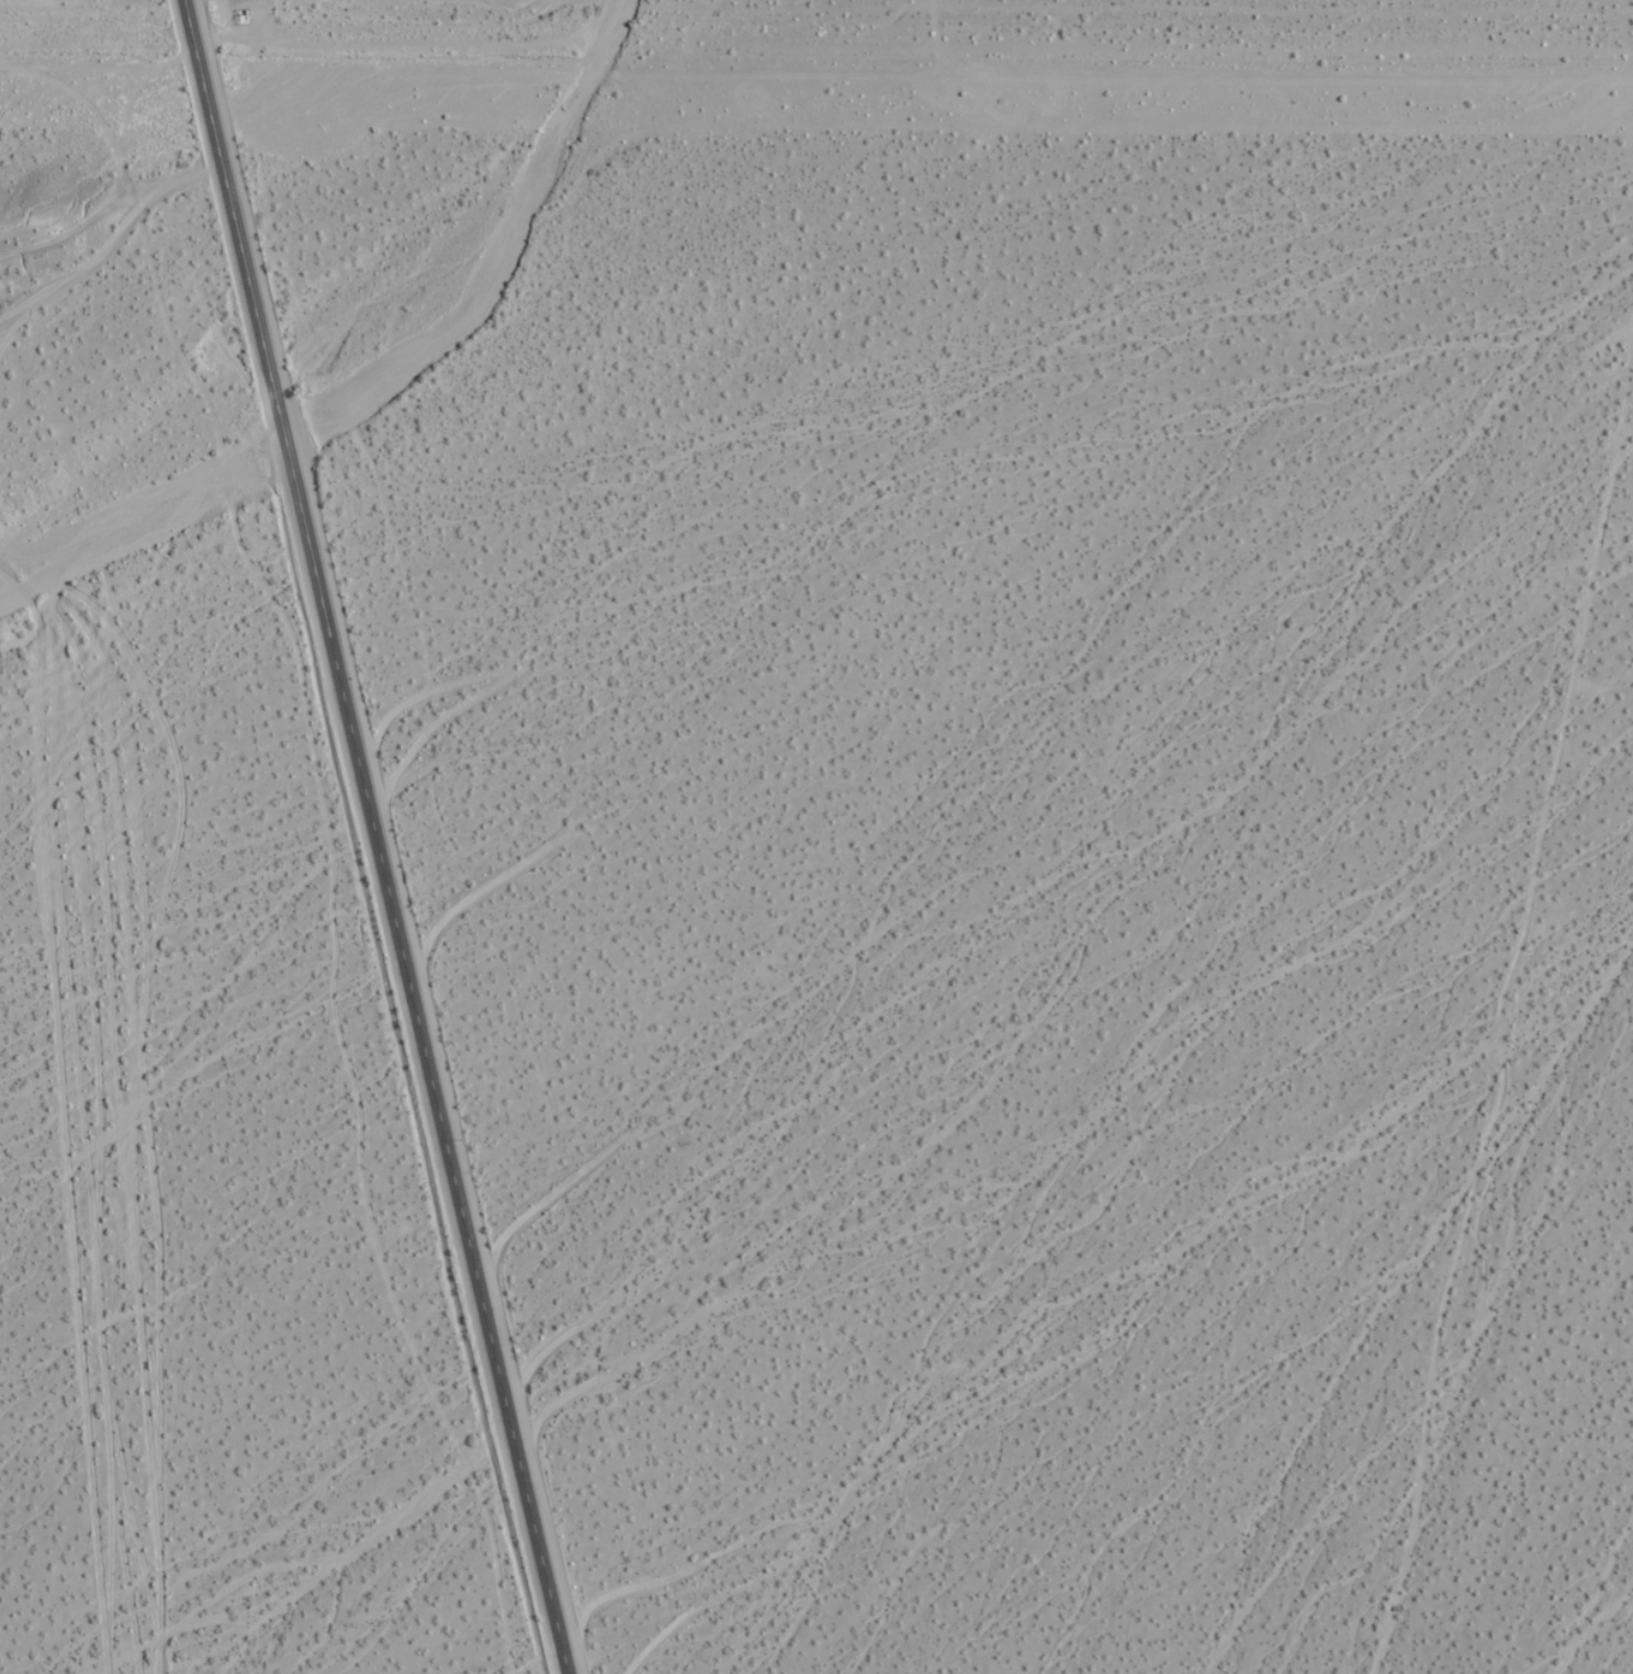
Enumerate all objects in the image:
road: (1607, 0)
road: (101, 63)
road: (376, 836)

